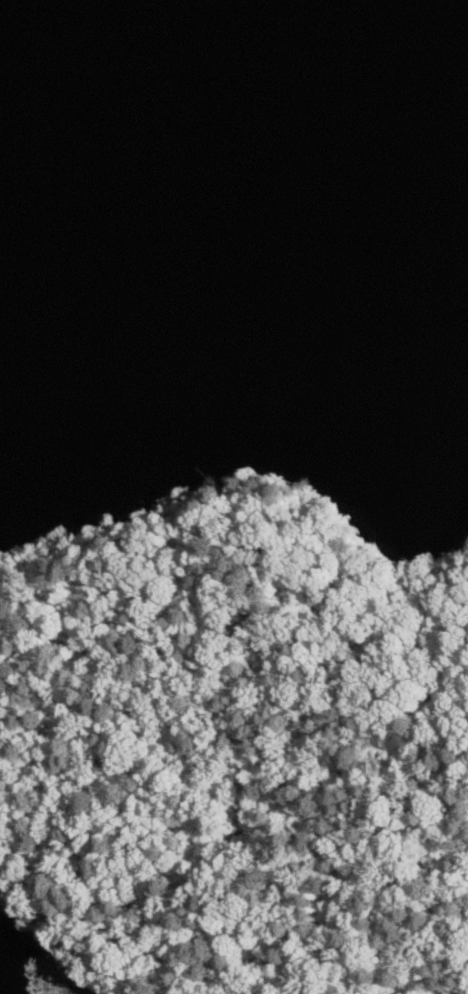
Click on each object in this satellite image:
road: (245, 613)
park: (240, 755)
road: (235, 900)

